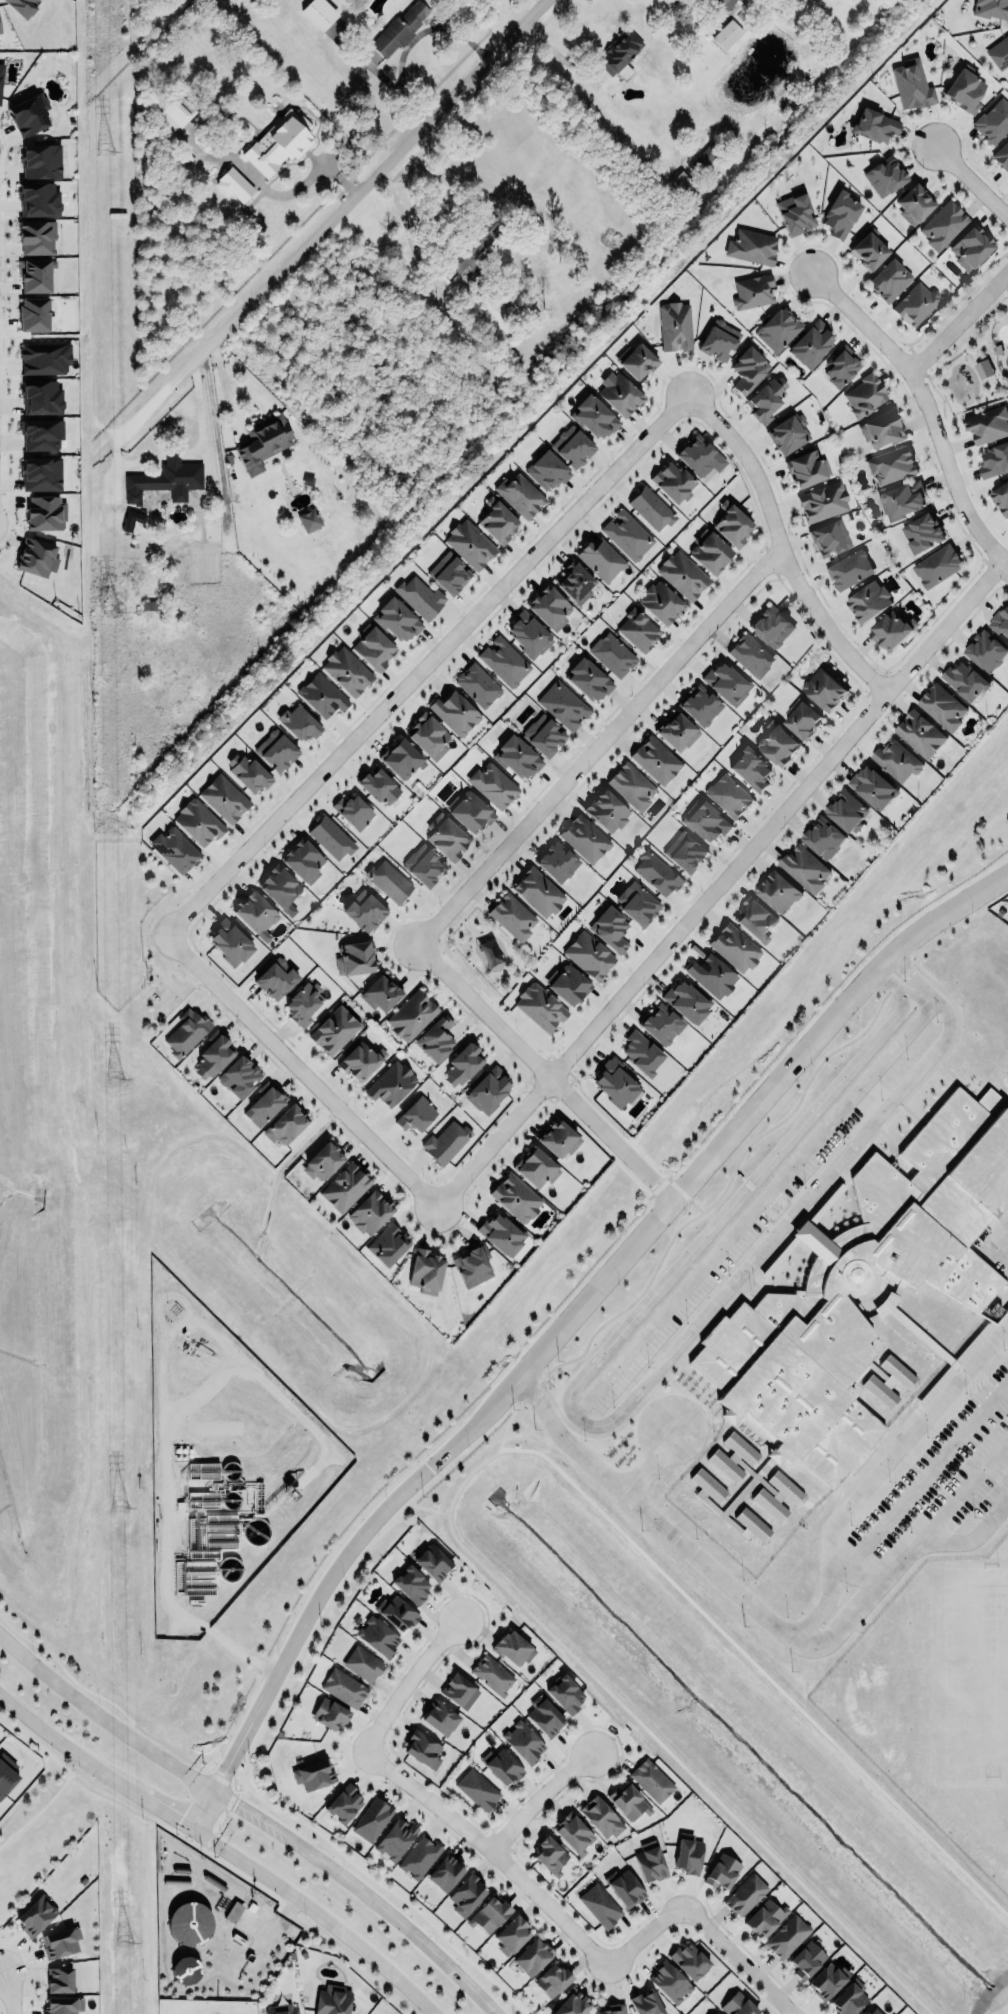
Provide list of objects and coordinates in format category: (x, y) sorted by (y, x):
building: (726, 3)
building: (22, 6)
building: (992, 8)
building: (319, 13)
building: (400, 28)
road: (425, 29)
building: (0, 31)
building: (726, 35)
building: (620, 50)
building: (999, 52)
road: (555, 55)
building: (1, 72)
building: (623, 72)
building: (913, 83)
road: (394, 89)
building: (965, 89)
building: (29, 114)
building: (174, 114)
building: (993, 120)
building: (874, 124)
building: (278, 142)
power tower: (101, 151)
building: (1002, 154)
building: (40, 161)
building: (885, 177)
road: (972, 181)
building: (233, 183)
building: (684, 186)
road: (361, 189)
road: (270, 191)
building: (38, 200)
building: (915, 202)
road: (438, 208)
building: (795, 212)
building: (841, 213)
building: (943, 224)
building: (36, 237)
building: (752, 246)
building: (971, 246)
building: (475, 247)
building: (868, 251)
building: (36, 271)
building: (889, 280)
building: (752, 292)
building: (915, 304)
building: (32, 310)
road: (958, 321)
building: (676, 325)
building: (778, 328)
building: (719, 339)
building: (811, 342)
building: (44, 358)
building: (638, 360)
building: (841, 367)
building: (749, 368)
building: (983, 369)
road: (226, 389)
building: (39, 394)
building: (621, 394)
building: (865, 394)
building: (767, 398)
road: (927, 409)
road: (198, 414)
building: (594, 417)
building: (988, 425)
building: (882, 428)
building: (40, 431)
building: (788, 433)
road: (120, 434)
building: (263, 441)
building: (572, 447)
building: (698, 453)
road: (171, 456)
building: (994, 461)
building: (891, 465)
building: (809, 467)
building: (547, 469)
building: (179, 470)
building: (41, 474)
building: (674, 481)
building: (136, 485)
building: (520, 494)
building: (1001, 497)
building: (902, 499)
building: (822, 502)
building: (651, 509)
building: (42, 512)
building: (131, 519)
building: (309, 520)
building: (497, 521)
building: (732, 524)
building: (922, 532)
building: (628, 534)
building: (830, 536)
building: (469, 544)
road: (782, 547)
building: (711, 552)
building: (35, 555)
building: (601, 558)
building: (938, 564)
building: (851, 569)
building: (449, 573)
building: (684, 574)
building: (574, 578)
building: (420, 597)
building: (661, 601)
building: (869, 601)
building: (550, 608)
power tower: (106, 613)
building: (397, 620)
building: (1000, 621)
building: (772, 626)
building: (639, 628)
building: (894, 630)
building: (530, 634)
building: (375, 647)
building: (987, 650)
building: (612, 654)
building: (751, 655)
building: (504, 661)
road: (426, 665)
building: (348, 670)
building: (589, 679)
building: (965, 680)
building: (726, 682)
building: (479, 684)
building: (824, 690)
building: (322, 695)
building: (563, 705)
building: (701, 705)
building: (943, 706)
building: (454, 713)
building: (803, 720)
building: (300, 722)
building: (677, 731)
building: (921, 733)
building: (429, 735)
building: (543, 735)
building: (778, 744)
road: (599, 748)
building: (277, 749)
building: (518, 756)
building: (401, 759)
building: (655, 760)
building: (897, 760)
building: (751, 768)
building: (248, 772)
building: (493, 784)
building: (632, 785)
building: (379, 786)
building: (873, 787)
building: (729, 795)
building: (225, 798)
building: (606, 808)
building: (470, 810)
building: (353, 811)
building: (848, 811)
building: (198, 819)
building: (705, 821)
building: (331, 837)
building: (585, 838)
building: (823, 838)
building: (448, 839)
building: (174, 849)
building: (684, 852)
building: (304, 861)
building: (558, 861)
building: (423, 863)
building: (806, 868)
building: (657, 872)
building: (389, 880)
road: (719, 884)
building: (281, 887)
building: (777, 891)
building: (538, 892)
building: (637, 903)
building: (366, 911)
building: (255, 914)
building: (512, 916)
building: (756, 916)
building: (610, 929)
building: (229, 942)
building: (733, 946)
building: (353, 955)
building: (588, 955)
building: (713, 975)
building: (276, 979)
building: (568, 984)
building: (380, 994)
road: (922, 996)
building: (686, 1001)
building: (302, 1003)
building: (540, 1006)
building: (412, 1015)
building: (661, 1024)
building: (333, 1029)
building: (185, 1032)
building: (436, 1039)
building: (642, 1052)
building: (213, 1056)
building: (361, 1060)
building: (463, 1063)
road: (300, 1071)
road: (545, 1071)
building: (239, 1076)
power tower: (113, 1082)
building: (616, 1083)
building: (391, 1084)
building: (488, 1090)
building: (264, 1106)
building: (416, 1114)
building: (285, 1125)
building: (560, 1139)
building: (446, 1140)
building: (322, 1161)
building: (538, 1169)
building: (345, 1187)
building: (516, 1196)
building: (370, 1212)
building: (502, 1234)
building: (387, 1245)
building: (473, 1265)
building: (426, 1271)
building: (853, 1310)
road: (566, 1322)
road: (601, 1425)
road: (880, 1469)
power tower: (118, 1509)
road: (651, 1513)
building: (433, 1562)
road: (898, 1564)
building: (411, 1585)
building: (398, 1613)
building: (378, 1637)
building: (512, 1647)
building: (363, 1664)
building: (492, 1674)
road: (409, 1679)
building: (344, 1688)
building: (457, 1690)
building: (566, 1695)
building: (329, 1714)
building: (439, 1718)
building: (546, 1718)
building: (523, 1742)
building: (423, 1750)
building: (502, 1766)
building: (6, 1774)
building: (315, 1774)
building: (652, 1780)
building: (478, 1790)
road: (542, 1798)
building: (628, 1802)
building: (343, 1806)
road: (35, 1814)
road: (255, 1815)
building: (602, 1817)
building: (372, 1820)
building: (574, 1834)
building: (395, 1839)
road: (222, 1846)
road: (494, 1847)
building: (688, 1854)
building: (550, 1855)
building: (419, 1857)
building: (650, 1863)
building: (721, 1871)
building: (444, 1873)
building: (625, 1887)
building: (745, 1895)
building: (467, 1896)
building: (600, 1905)
building: (233, 1911)
building: (489, 1914)
building: (35, 1916)
building: (765, 1917)
building: (189, 1922)
road: (645, 1934)
building: (512, 1935)
building: (787, 1937)
building: (60, 1942)
power tower: (125, 1942)
building: (530, 1956)
road: (738, 1959)
building: (807, 1960)
building: (690, 1961)
building: (185, 1971)
building: (59, 1980)
building: (553, 1980)
building: (827, 1980)
building: (671, 1981)
road: (4, 1992)
building: (850, 1998)
building: (333, 2001)
building: (572, 2003)
building: (646, 2003)
building: (63, 2005)
building: (738, 2005)
building: (283, 2009)
building: (612, 2009)
building: (871, 2010)
building: (714, 2012)

